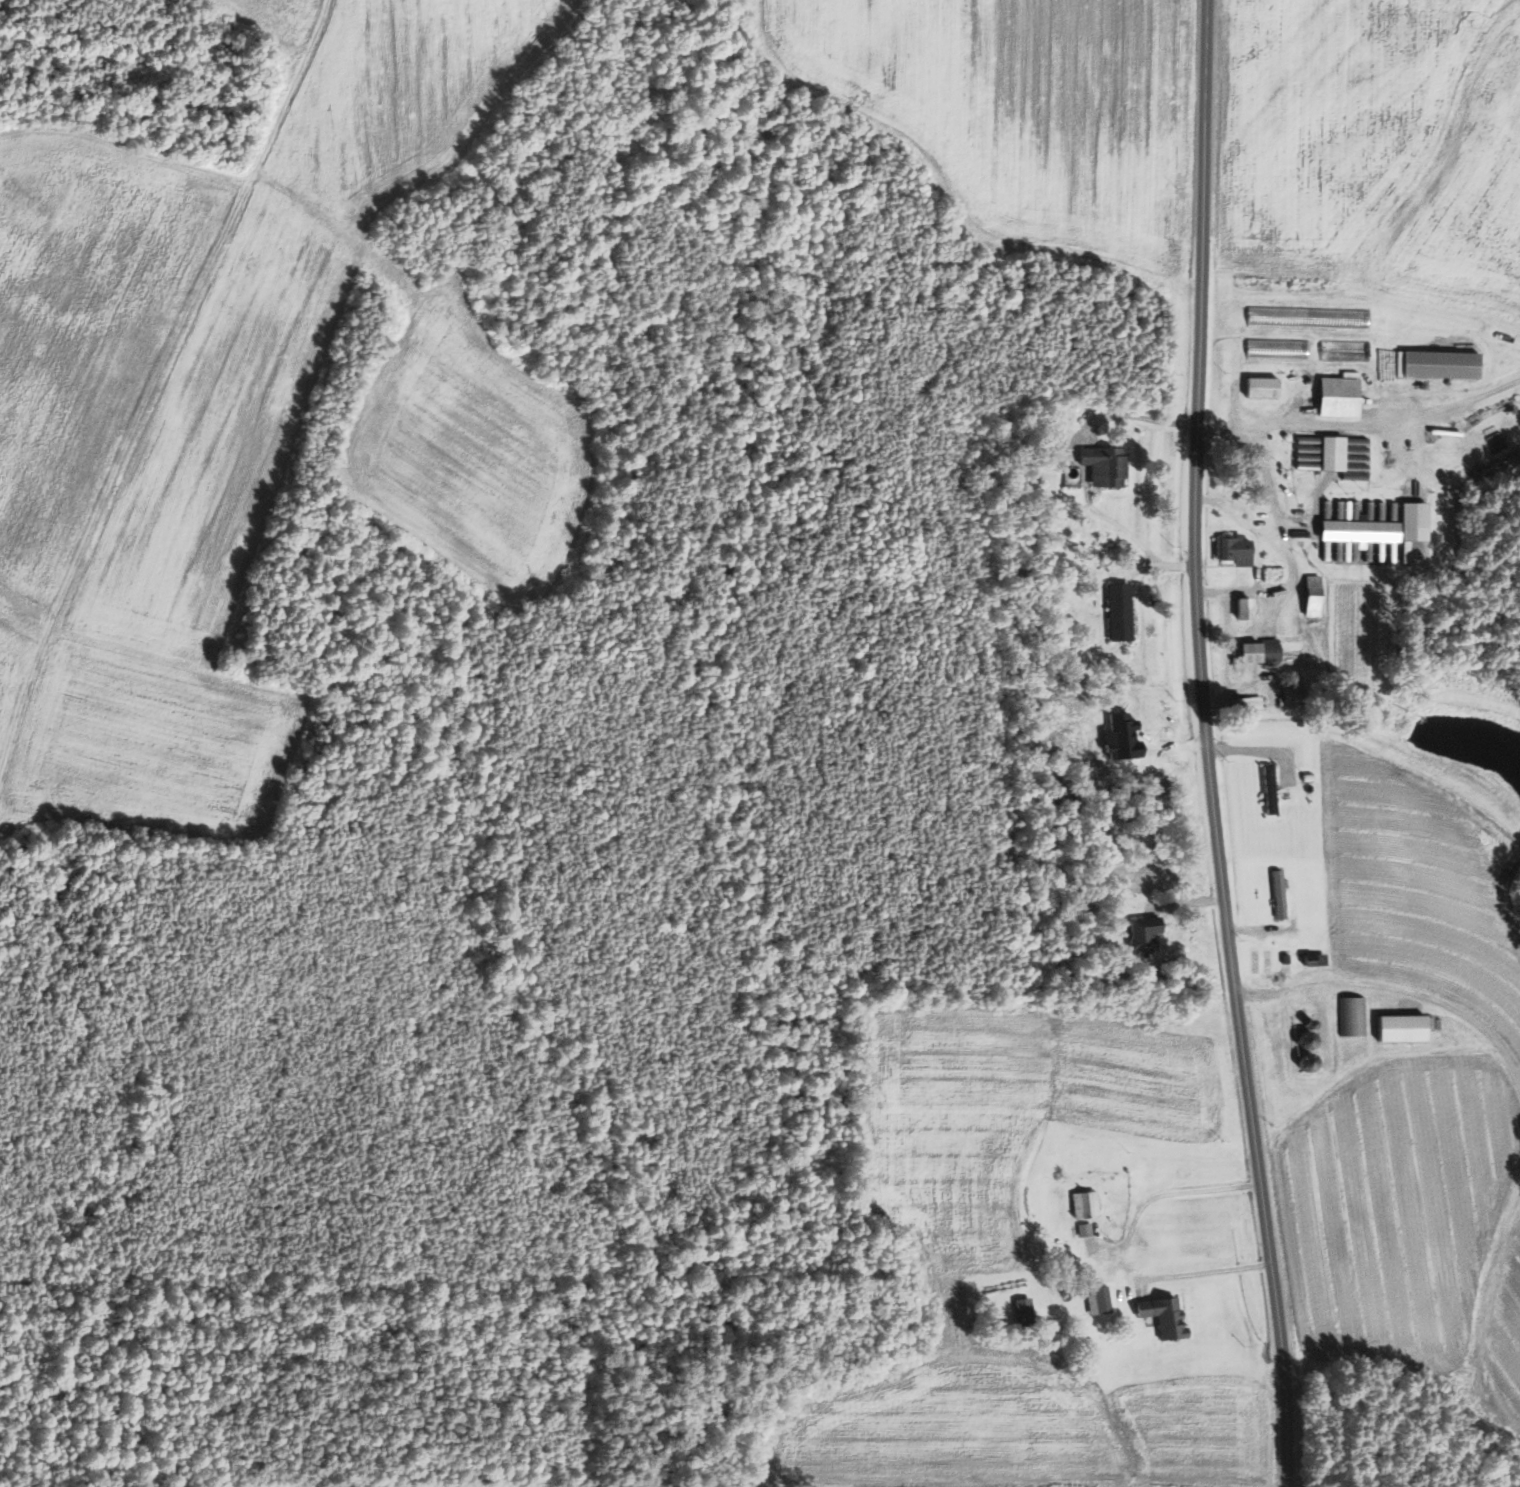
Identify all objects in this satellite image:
building: (1279, 349)
building: (1347, 350)
building: (1442, 364)
building: (1265, 387)
building: (1343, 397)
road: (1363, 427)
building: (1334, 453)
building: (1108, 466)
building: (1418, 522)
building: (1364, 540)
building: (1237, 550)
road: (1288, 554)
building: (1316, 596)
building: (1122, 607)
building: (1249, 608)
building: (1263, 651)
road: (1229, 656)
building: (1296, 696)
building: (1250, 704)
road: (1206, 745)
road: (1251, 753)
building: (1271, 790)
building: (1281, 895)
road: (1259, 934)
building: (1147, 936)
building: (1318, 960)
road: (1396, 991)
building: (1407, 1029)
road: (1181, 1190)
building: (1087, 1205)
building: (1086, 1230)
road: (1204, 1271)
building: (1100, 1302)
building: (1026, 1312)
building: (1167, 1317)

